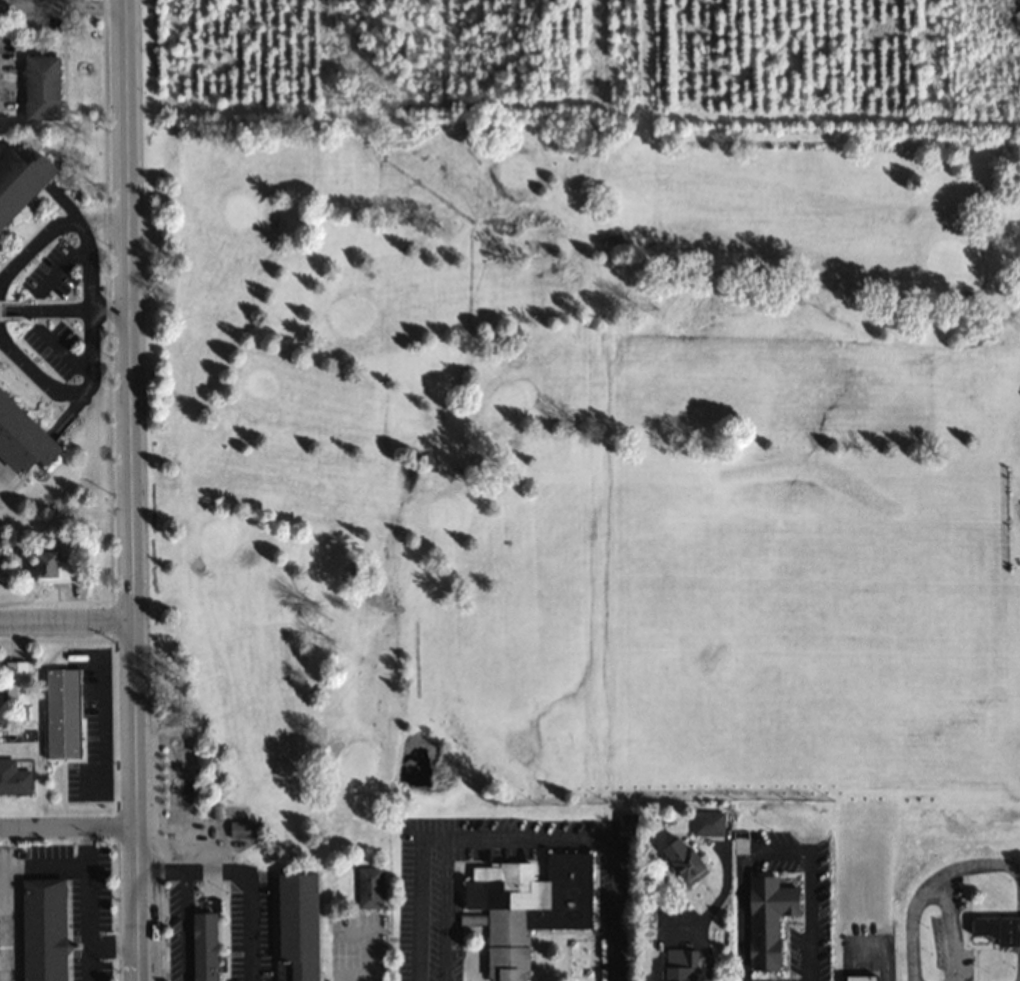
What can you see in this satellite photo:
road: (62, 6)
building: (40, 87)
building: (21, 166)
road: (89, 307)
road: (88, 308)
building: (21, 430)
park: (580, 466)
road: (132, 490)
building: (51, 568)
road: (67, 622)
building: (16, 681)
building: (62, 712)
building: (14, 781)
building: (707, 824)
road: (68, 826)
building: (238, 828)
road: (518, 837)
road: (779, 852)
building: (681, 860)
road: (247, 871)
road: (935, 882)
building: (368, 887)
building: (527, 906)
park: (357, 919)
building: (766, 919)
road: (184, 926)
building: (296, 926)
building: (42, 929)
building: (995, 929)
building: (202, 946)
building: (678, 965)
building: (858, 978)

